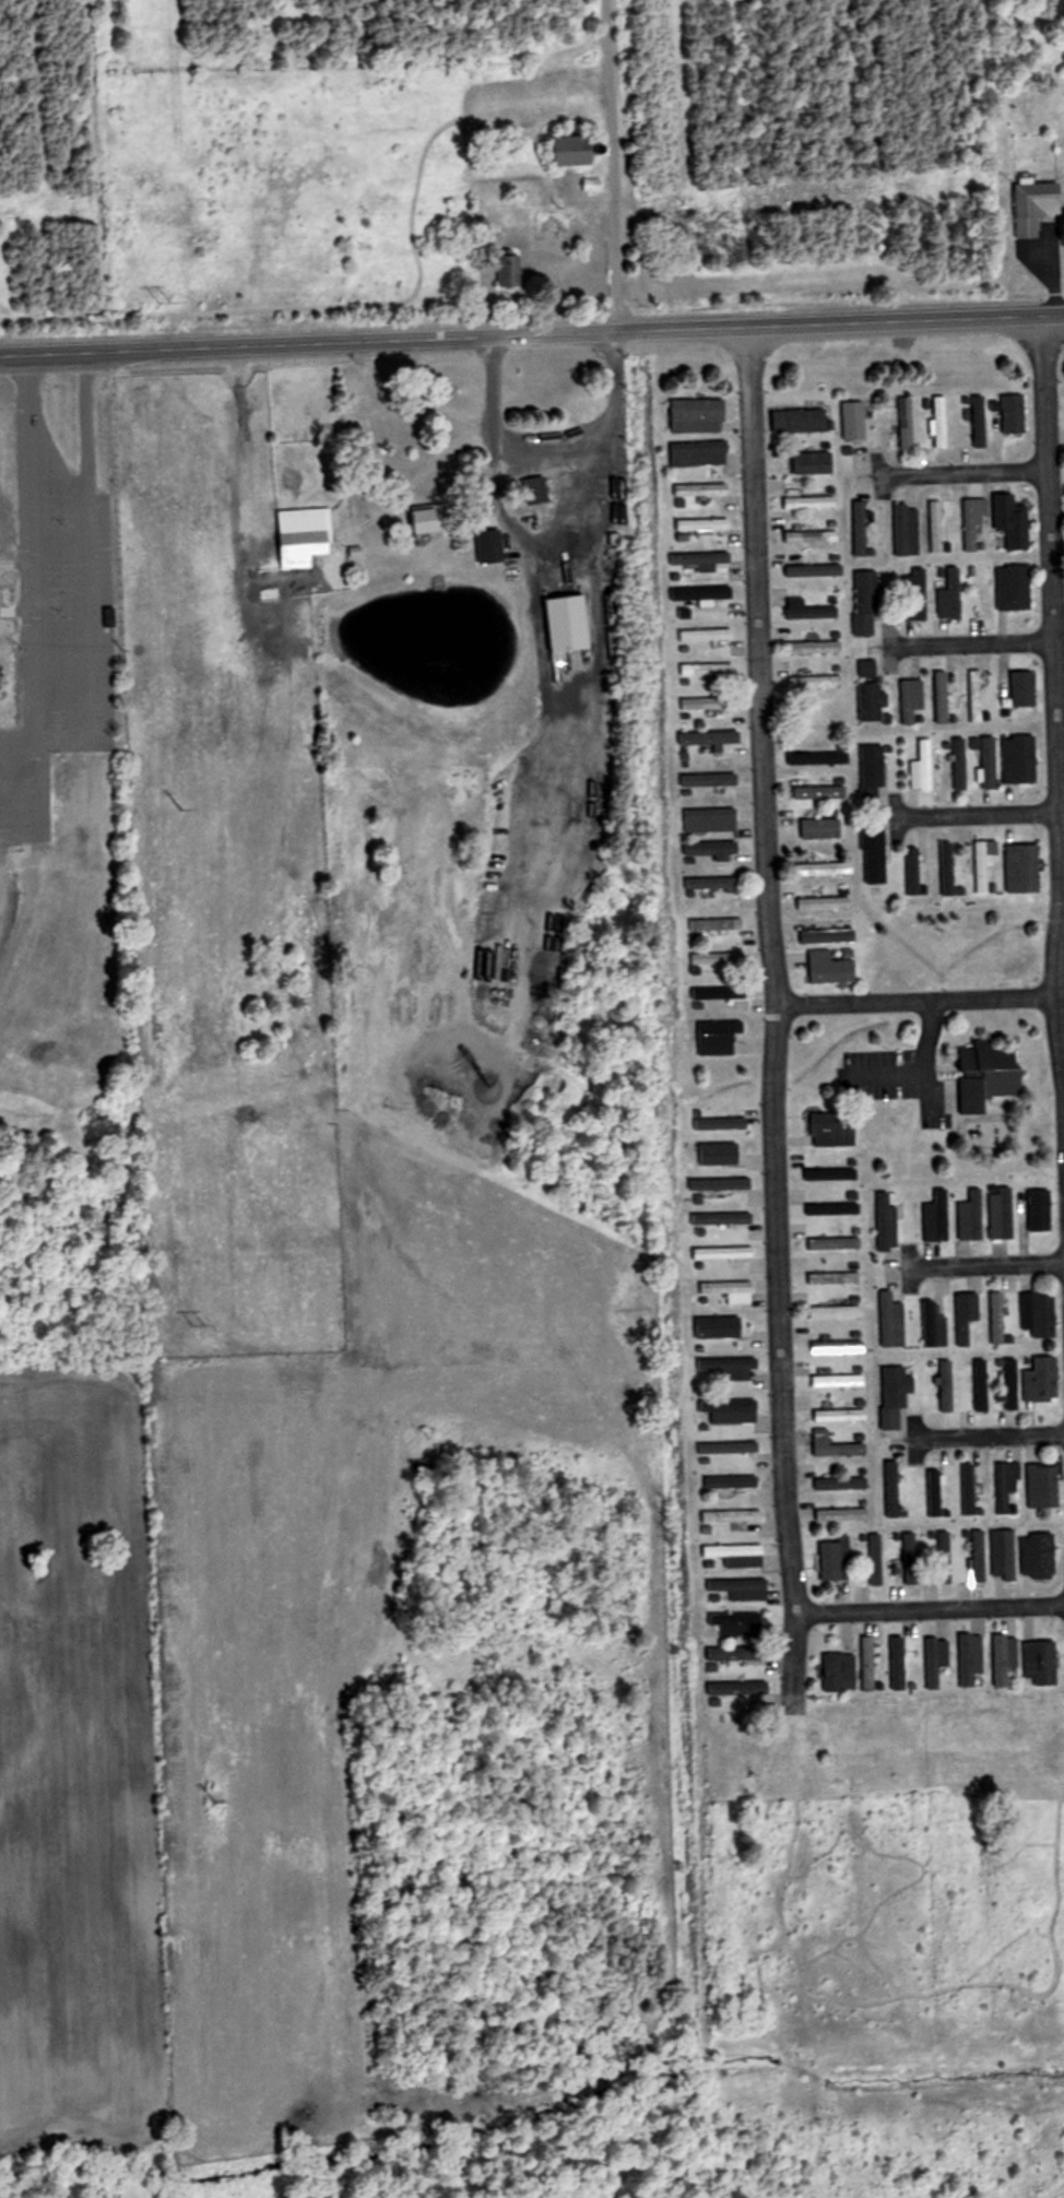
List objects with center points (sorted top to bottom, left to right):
building: (577, 150)
building: (1036, 206)
road: (613, 243)
building: (506, 277)
power tower: (165, 297)
road: (532, 339)
road: (429, 406)
building: (1015, 414)
building: (700, 415)
building: (854, 419)
building: (802, 421)
building: (942, 422)
building: (980, 422)
building: (903, 426)
building: (700, 453)
building: (808, 468)
road: (955, 476)
building: (534, 489)
building: (702, 489)
building: (812, 501)
building: (435, 519)
building: (1017, 521)
building: (705, 524)
building: (974, 524)
building: (936, 525)
building: (861, 528)
building: (906, 529)
building: (812, 535)
building: (306, 536)
building: (492, 545)
building: (572, 549)
road: (551, 557)
building: (701, 558)
building: (815, 570)
building: (1015, 587)
building: (985, 591)
building: (702, 592)
building: (914, 594)
building: (951, 594)
building: (866, 602)
building: (808, 610)
building: (110, 616)
building: (707, 634)
road: (962, 645)
building: (817, 646)
building: (867, 667)
building: (708, 669)
building: (816, 681)
building: (976, 695)
building: (1025, 695)
building: (942, 697)
building: (912, 699)
building: (709, 702)
building: (871, 702)
building: (709, 736)
road: (55, 740)
building: (818, 758)
building: (1020, 759)
road: (1052, 763)
building: (960, 764)
building: (924, 767)
building: (873, 771)
building: (711, 779)
building: (821, 792)
power tower: (182, 804)
road: (969, 818)
building: (712, 819)
building: (821, 828)
building: (714, 849)
building: (875, 855)
building: (984, 863)
building: (1024, 867)
building: (826, 868)
building: (948, 868)
building: (913, 872)
building: (714, 883)
building: (825, 902)
building: (718, 924)
building: (718, 958)
building: (832, 967)
road: (768, 972)
building: (720, 993)
road: (912, 1005)
building: (718, 1038)
building: (994, 1072)
building: (721, 1124)
building: (841, 1127)
building: (720, 1150)
building: (832, 1174)
building: (721, 1185)
building: (834, 1209)
building: (1042, 1210)
building: (1003, 1213)
building: (972, 1216)
building: (937, 1217)
building: (722, 1219)
building: (888, 1221)
building: (836, 1243)
building: (724, 1254)
road: (980, 1268)
building: (891, 1276)
building: (836, 1278)
building: (731, 1291)
building: (838, 1312)
building: (1041, 1314)
building: (967, 1316)
building: (998, 1317)
power tower: (208, 1319)
building: (891, 1321)
building: (934, 1326)
building: (839, 1348)
building: (729, 1369)
building: (1043, 1381)
building: (840, 1382)
building: (1009, 1383)
building: (976, 1385)
building: (896, 1395)
building: (729, 1411)
building: (841, 1416)
road: (981, 1439)
building: (836, 1446)
building: (729, 1447)
building: (732, 1482)
building: (841, 1484)
building: (1006, 1486)
building: (1043, 1486)
building: (892, 1490)
building: (968, 1490)
building: (934, 1493)
building: (842, 1514)
building: (733, 1516)
building: (738, 1555)
building: (1004, 1555)
building: (945, 1556)
building: (1040, 1556)
building: (979, 1557)
building: (908, 1558)
building: (837, 1559)
building: (874, 1559)
building: (742, 1588)
road: (930, 1615)
building: (738, 1624)
building: (738, 1653)
building: (1005, 1658)
building: (970, 1659)
building: (935, 1661)
building: (867, 1663)
building: (1042, 1663)
building: (898, 1664)
building: (840, 1671)
building: (740, 1689)
power tower: (218, 1801)

